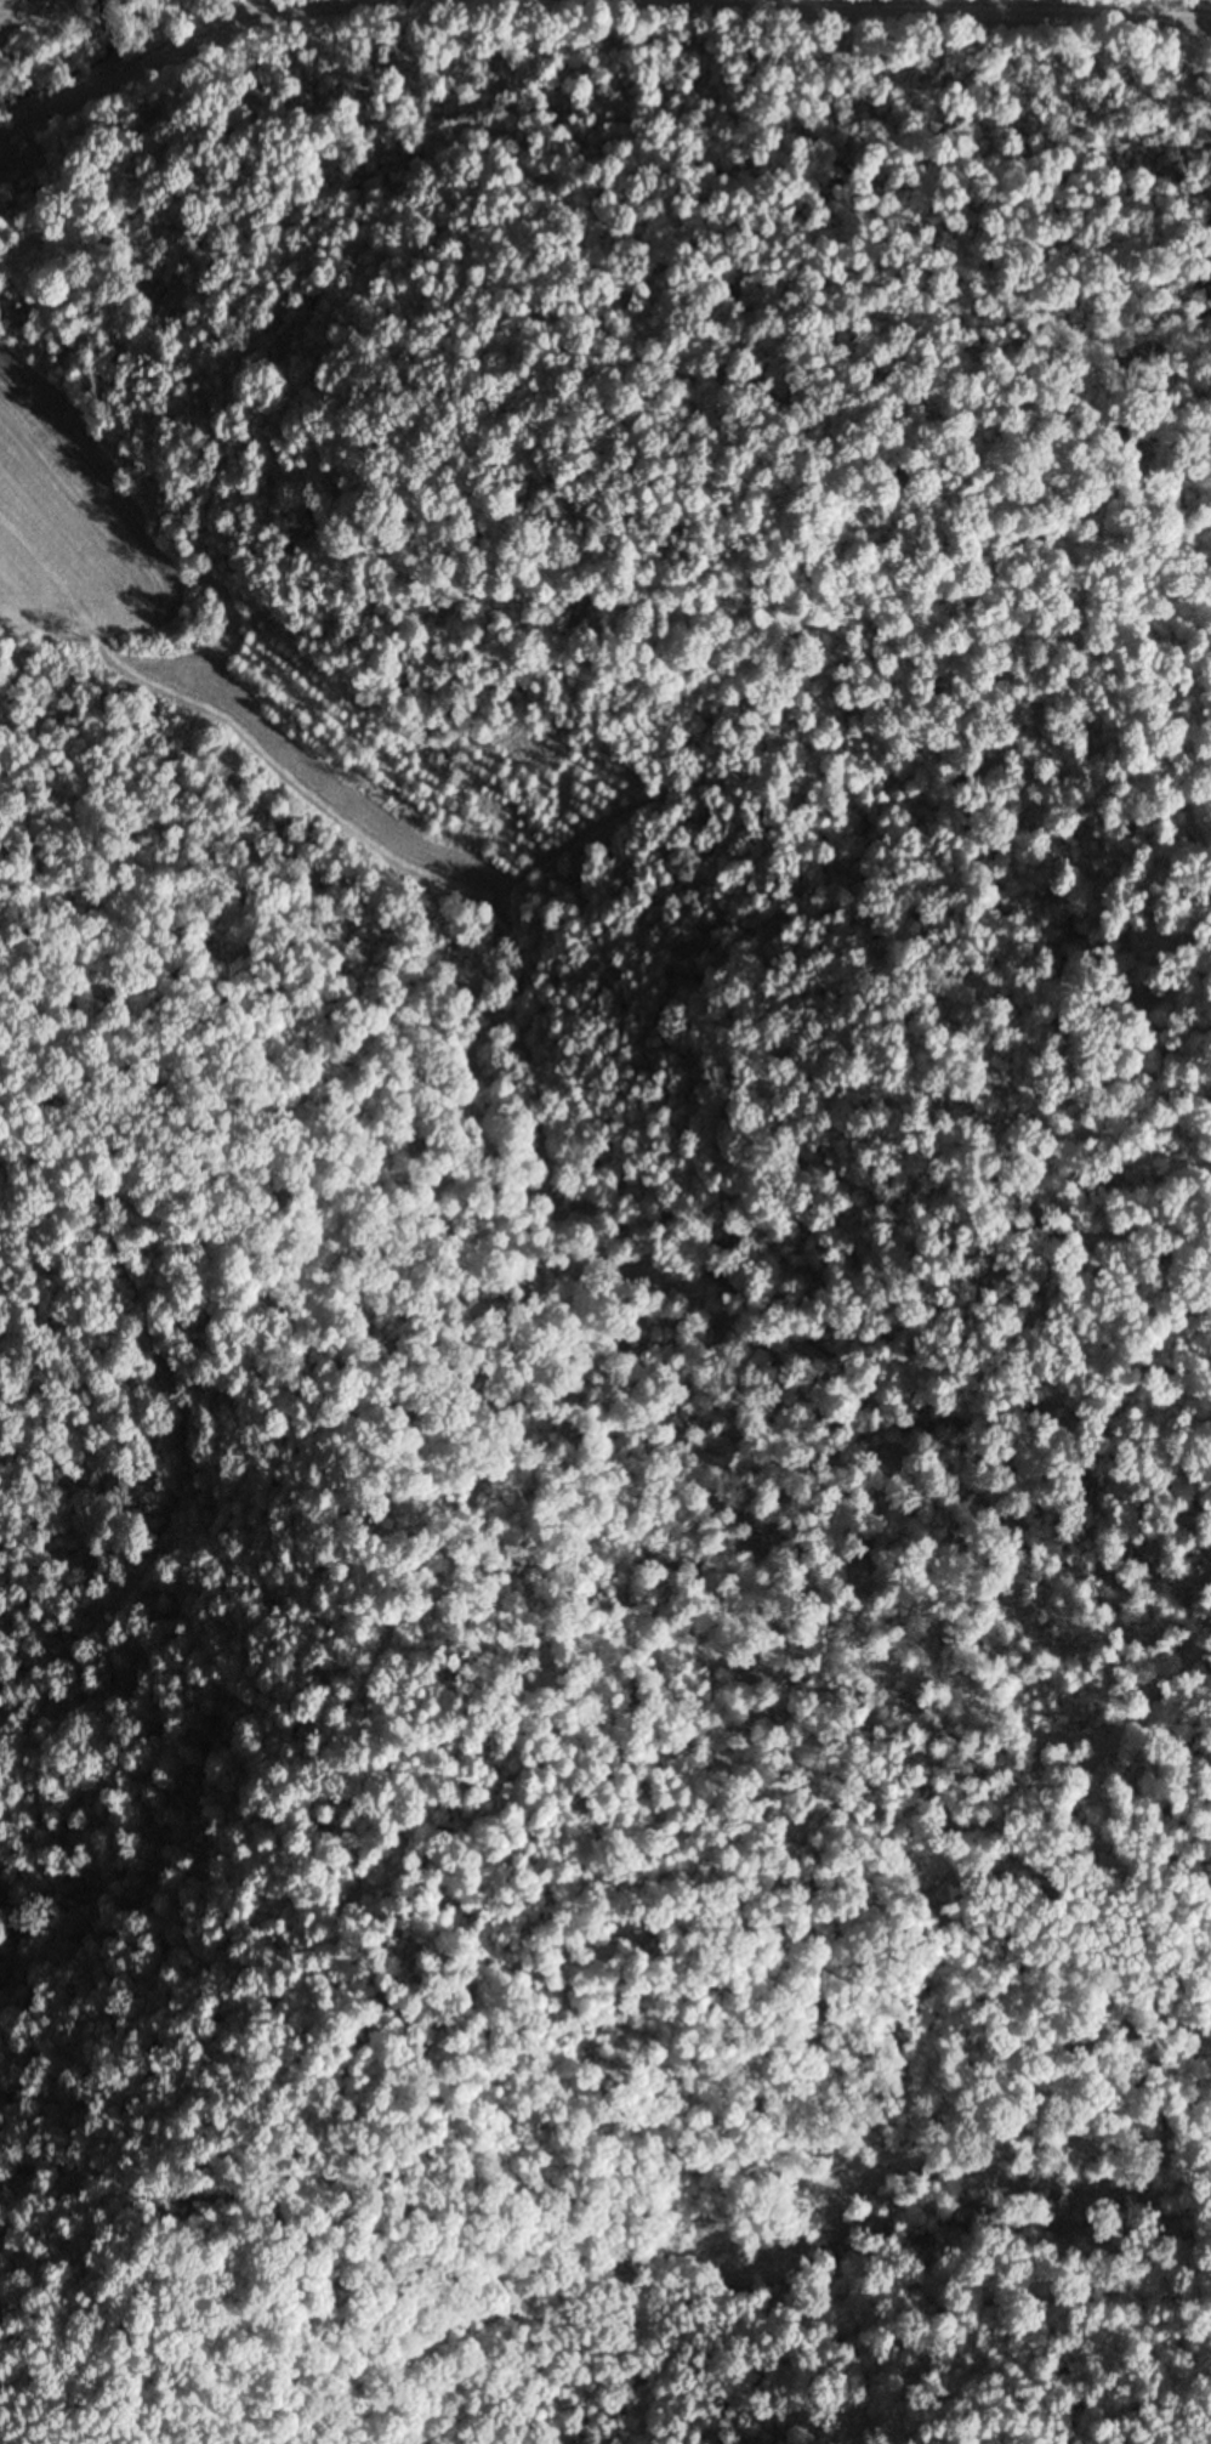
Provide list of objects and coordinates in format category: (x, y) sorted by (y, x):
road: (916, 15)
road: (205, 40)

